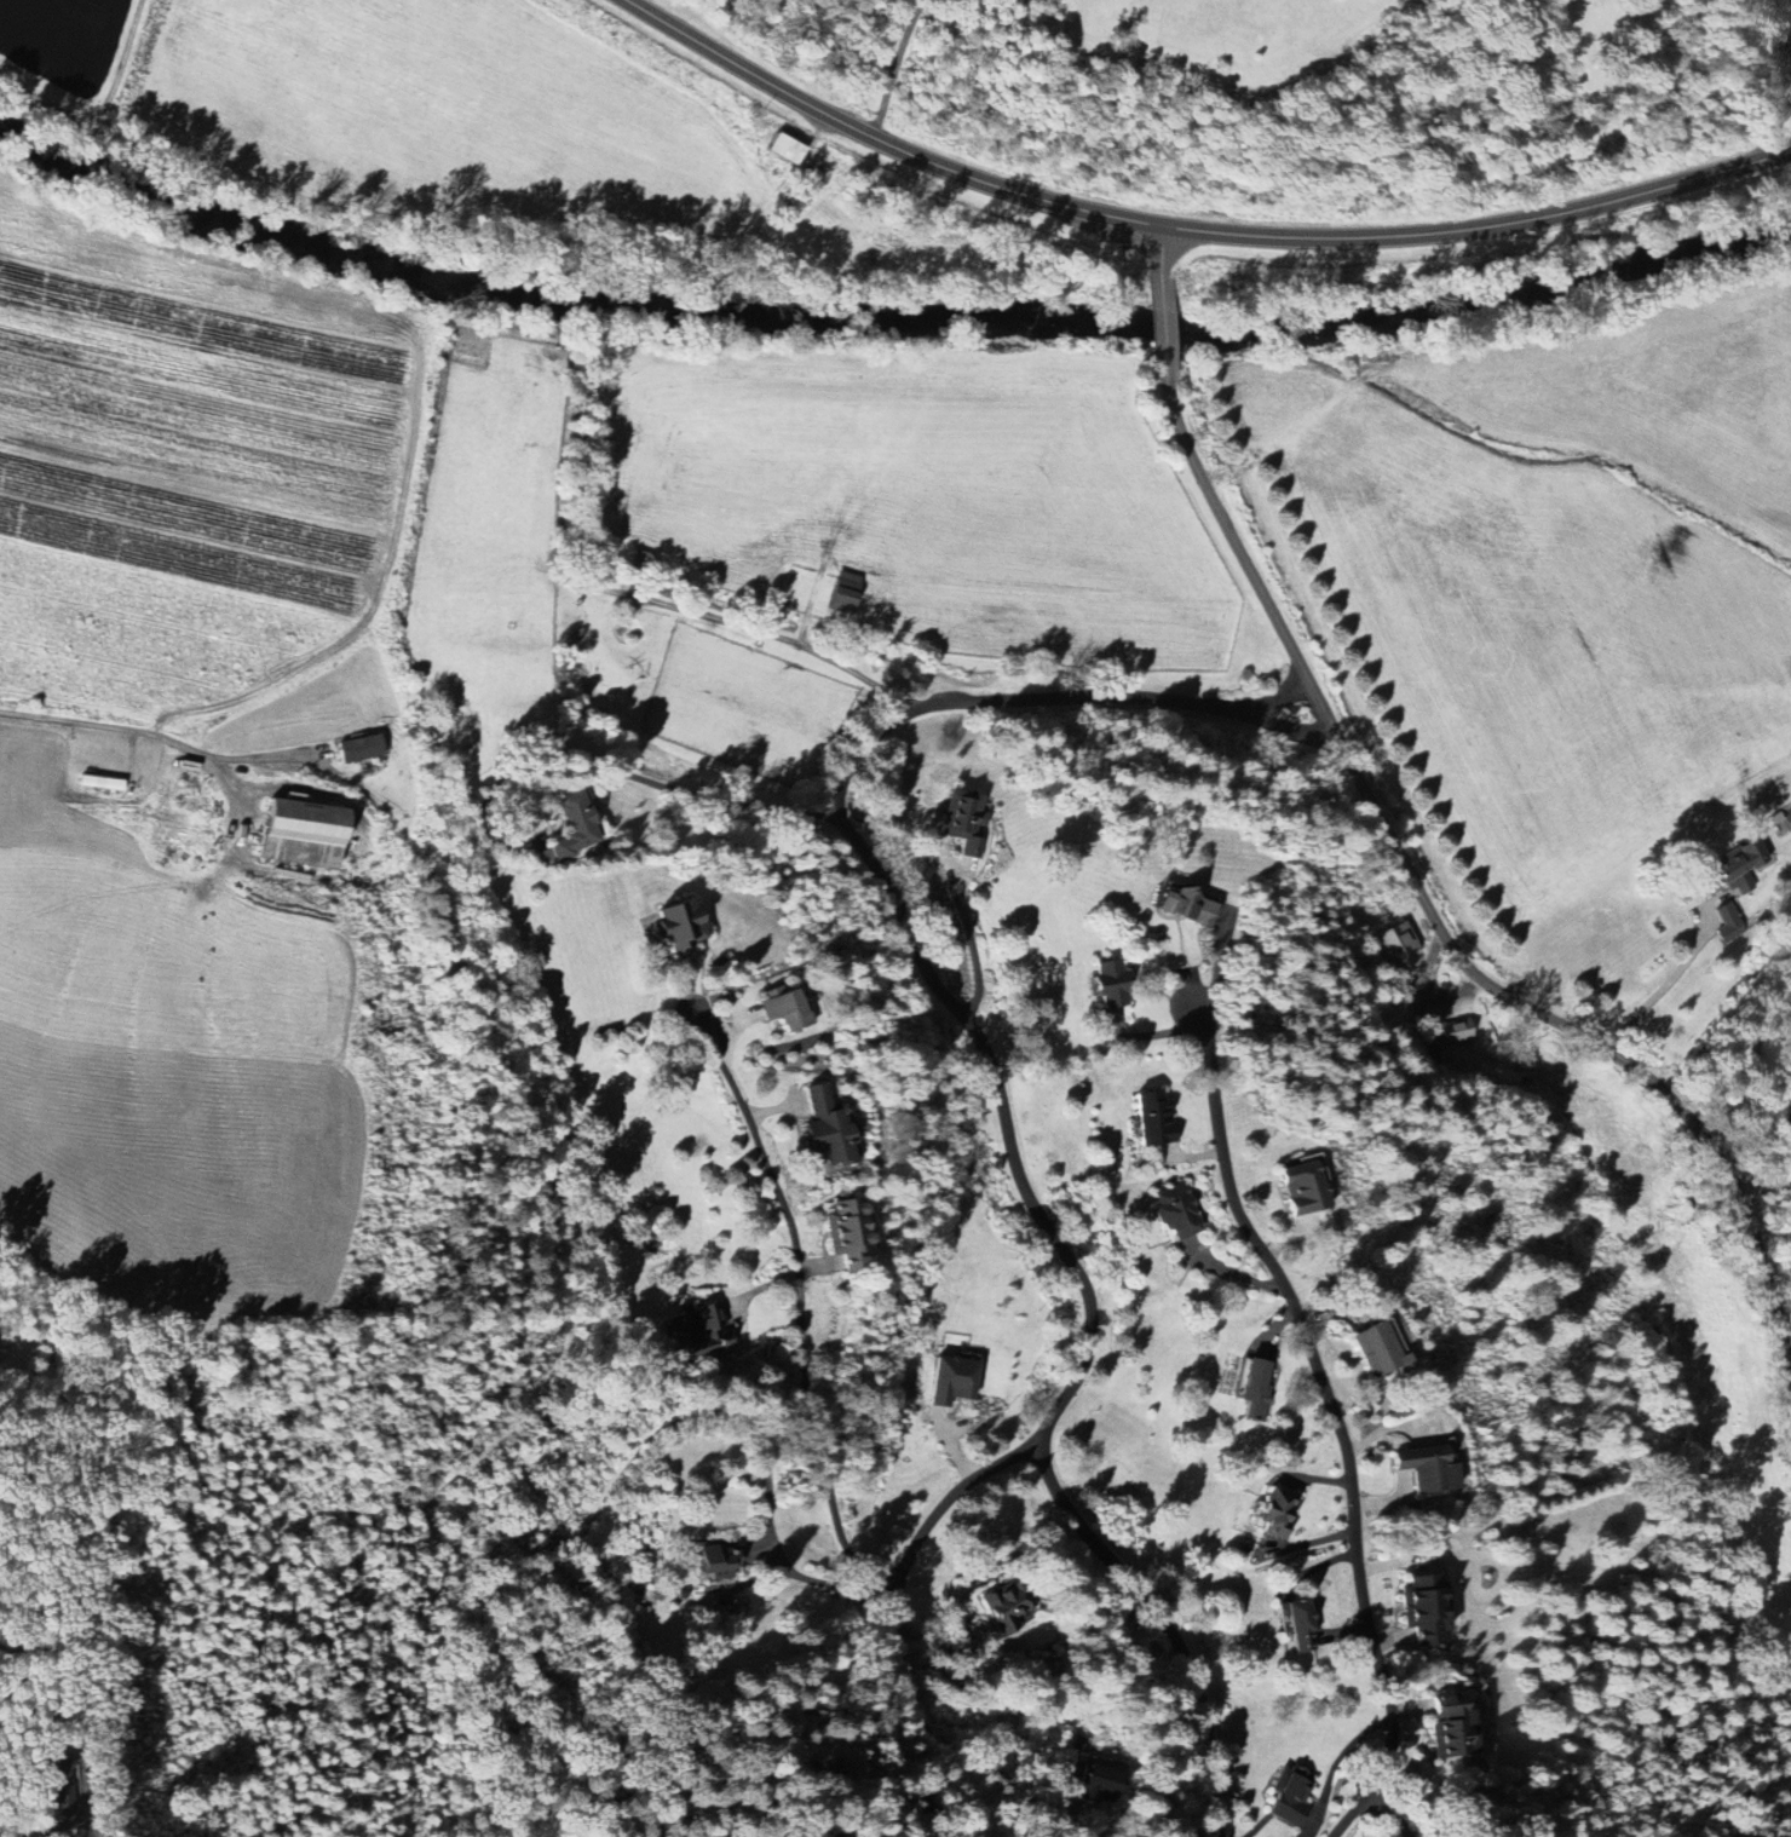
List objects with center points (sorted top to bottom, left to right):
road: (1191, 230)
road: (1161, 249)
road: (1161, 323)
building: (842, 592)
road: (773, 634)
road: (1274, 698)
road: (138, 725)
building: (358, 748)
road: (257, 749)
road: (691, 790)
building: (961, 817)
building: (572, 825)
building: (300, 833)
building: (1738, 859)
building: (1185, 904)
road: (1432, 914)
building: (679, 922)
building: (1395, 945)
building: (1110, 983)
road: (1658, 990)
building: (783, 1007)
building: (1455, 1030)
road: (991, 1060)
building: (1152, 1118)
building: (827, 1125)
building: (1302, 1185)
road: (1762, 1188)
building: (1174, 1211)
building: (847, 1231)
road: (797, 1302)
building: (699, 1332)
building: (1378, 1351)
building: (951, 1380)
road: (1335, 1419)
building: (1426, 1468)
building: (1274, 1511)
building: (718, 1561)
road: (820, 1580)
building: (1001, 1606)
building: (1423, 1607)
building: (1300, 1624)
road: (895, 1625)
road: (67, 1662)
building: (1452, 1726)
building: (1094, 1779)
building: (57, 1796)
building: (1290, 1796)

